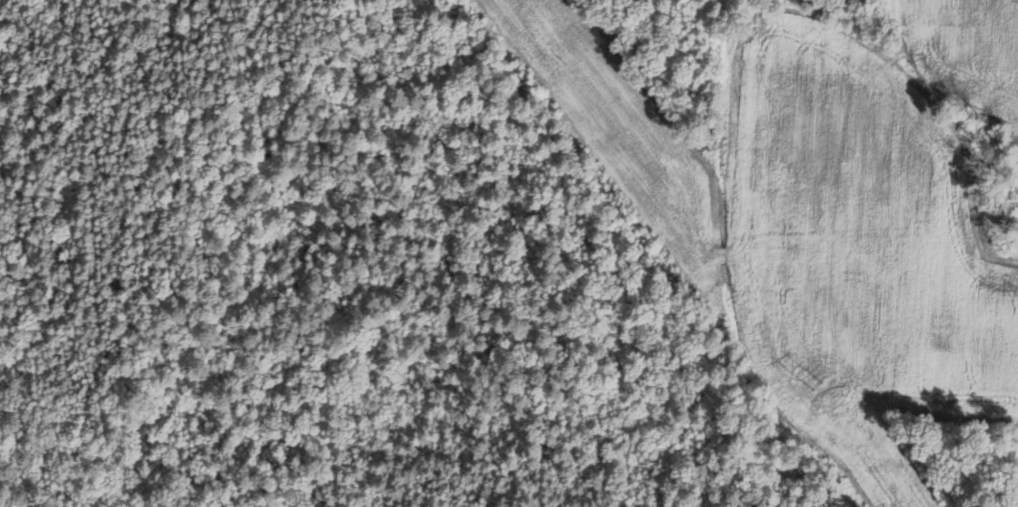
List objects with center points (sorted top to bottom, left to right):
power tower: (813, 386)

